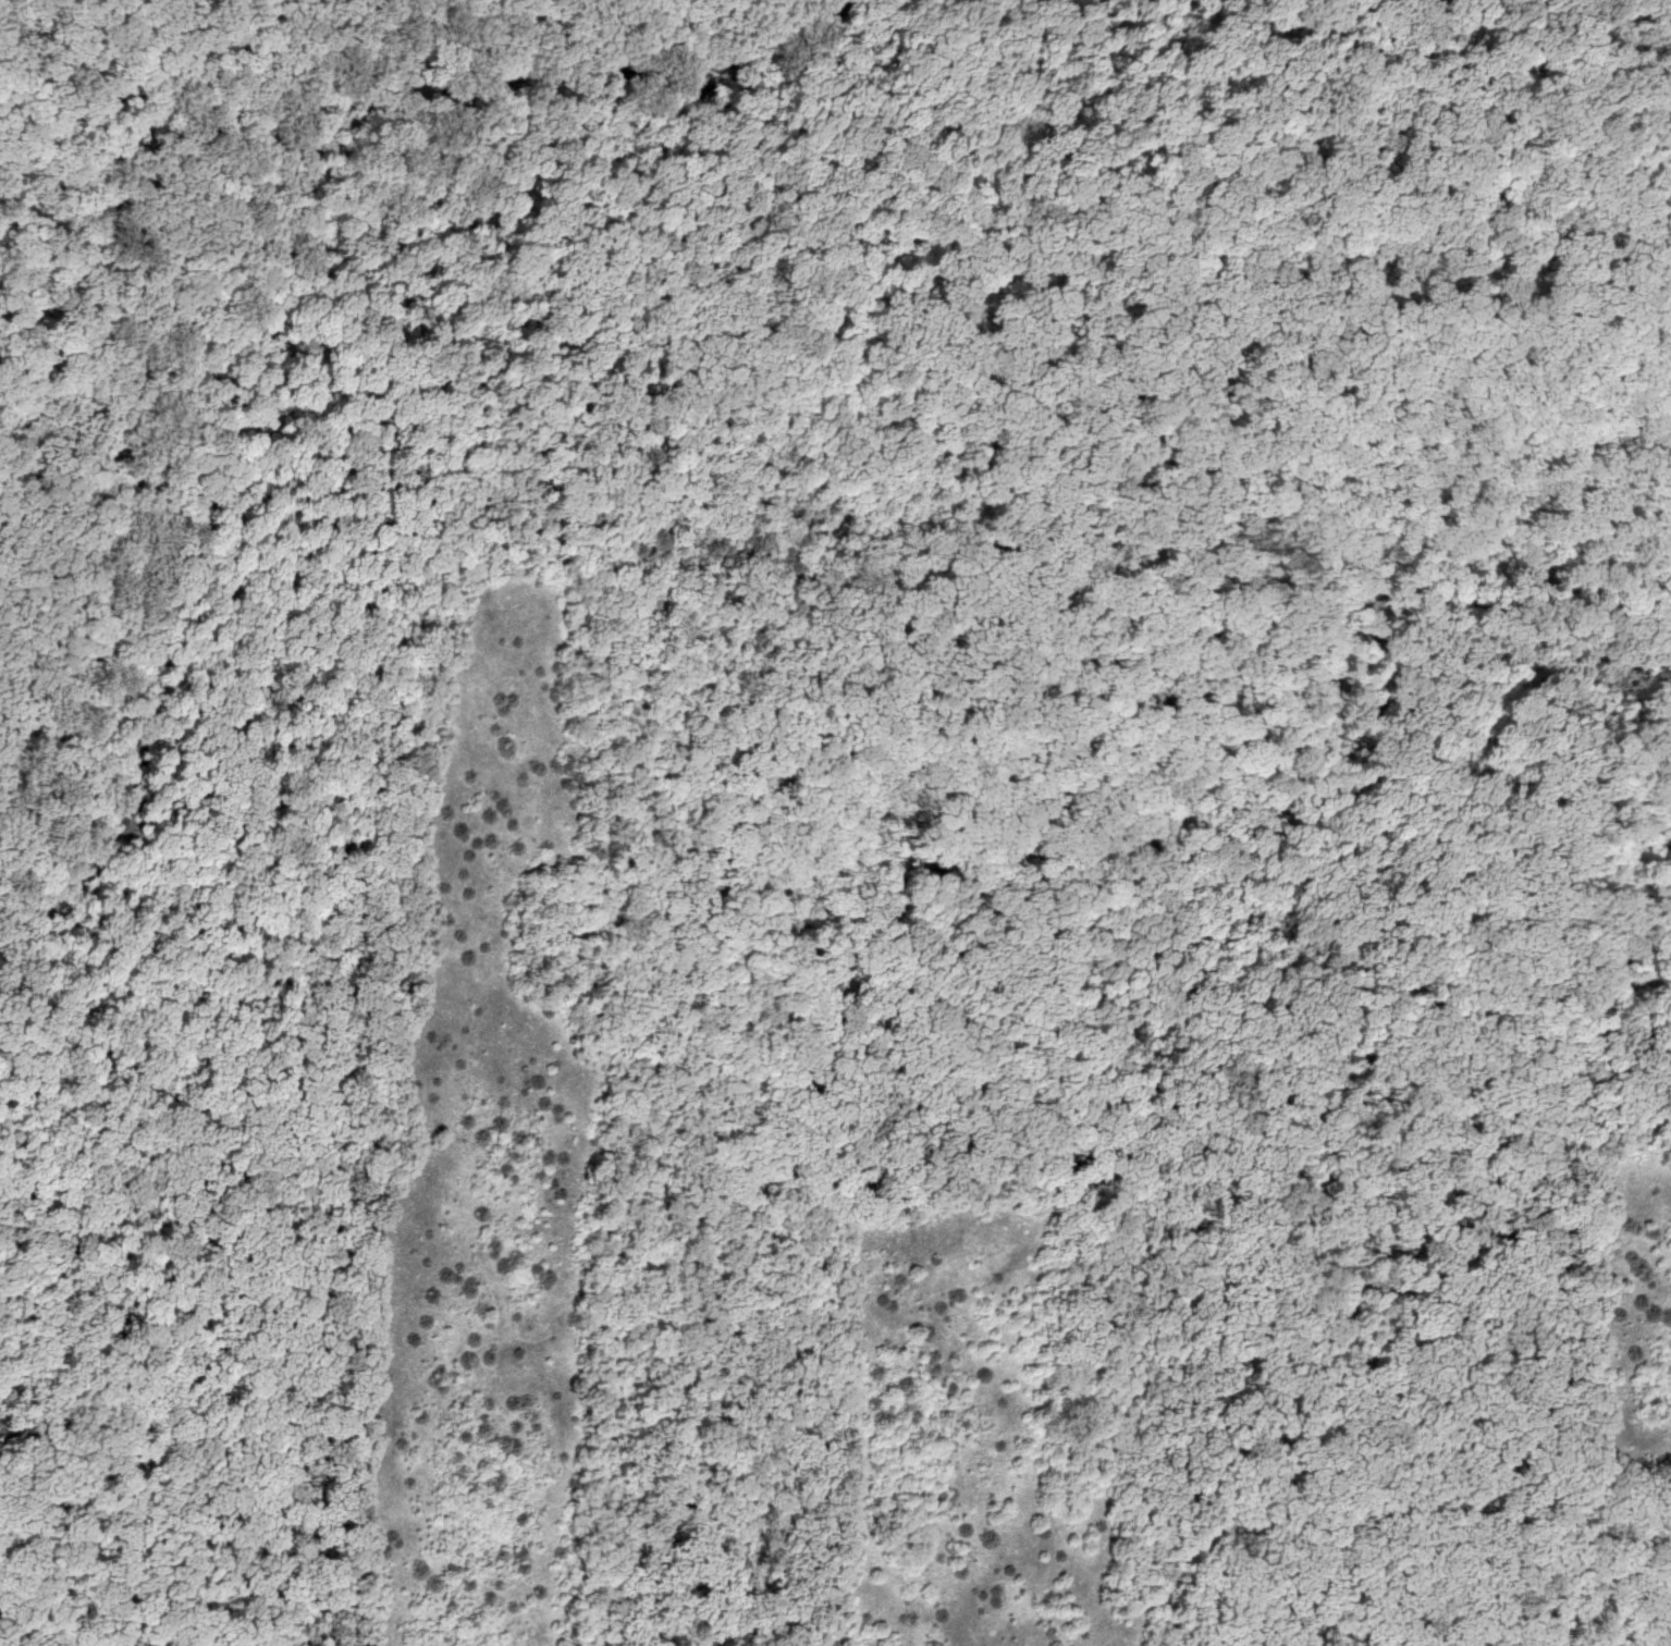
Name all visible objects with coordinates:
road: (271, 168)
road: (1618, 221)
park: (835, 823)
road: (1643, 1619)

